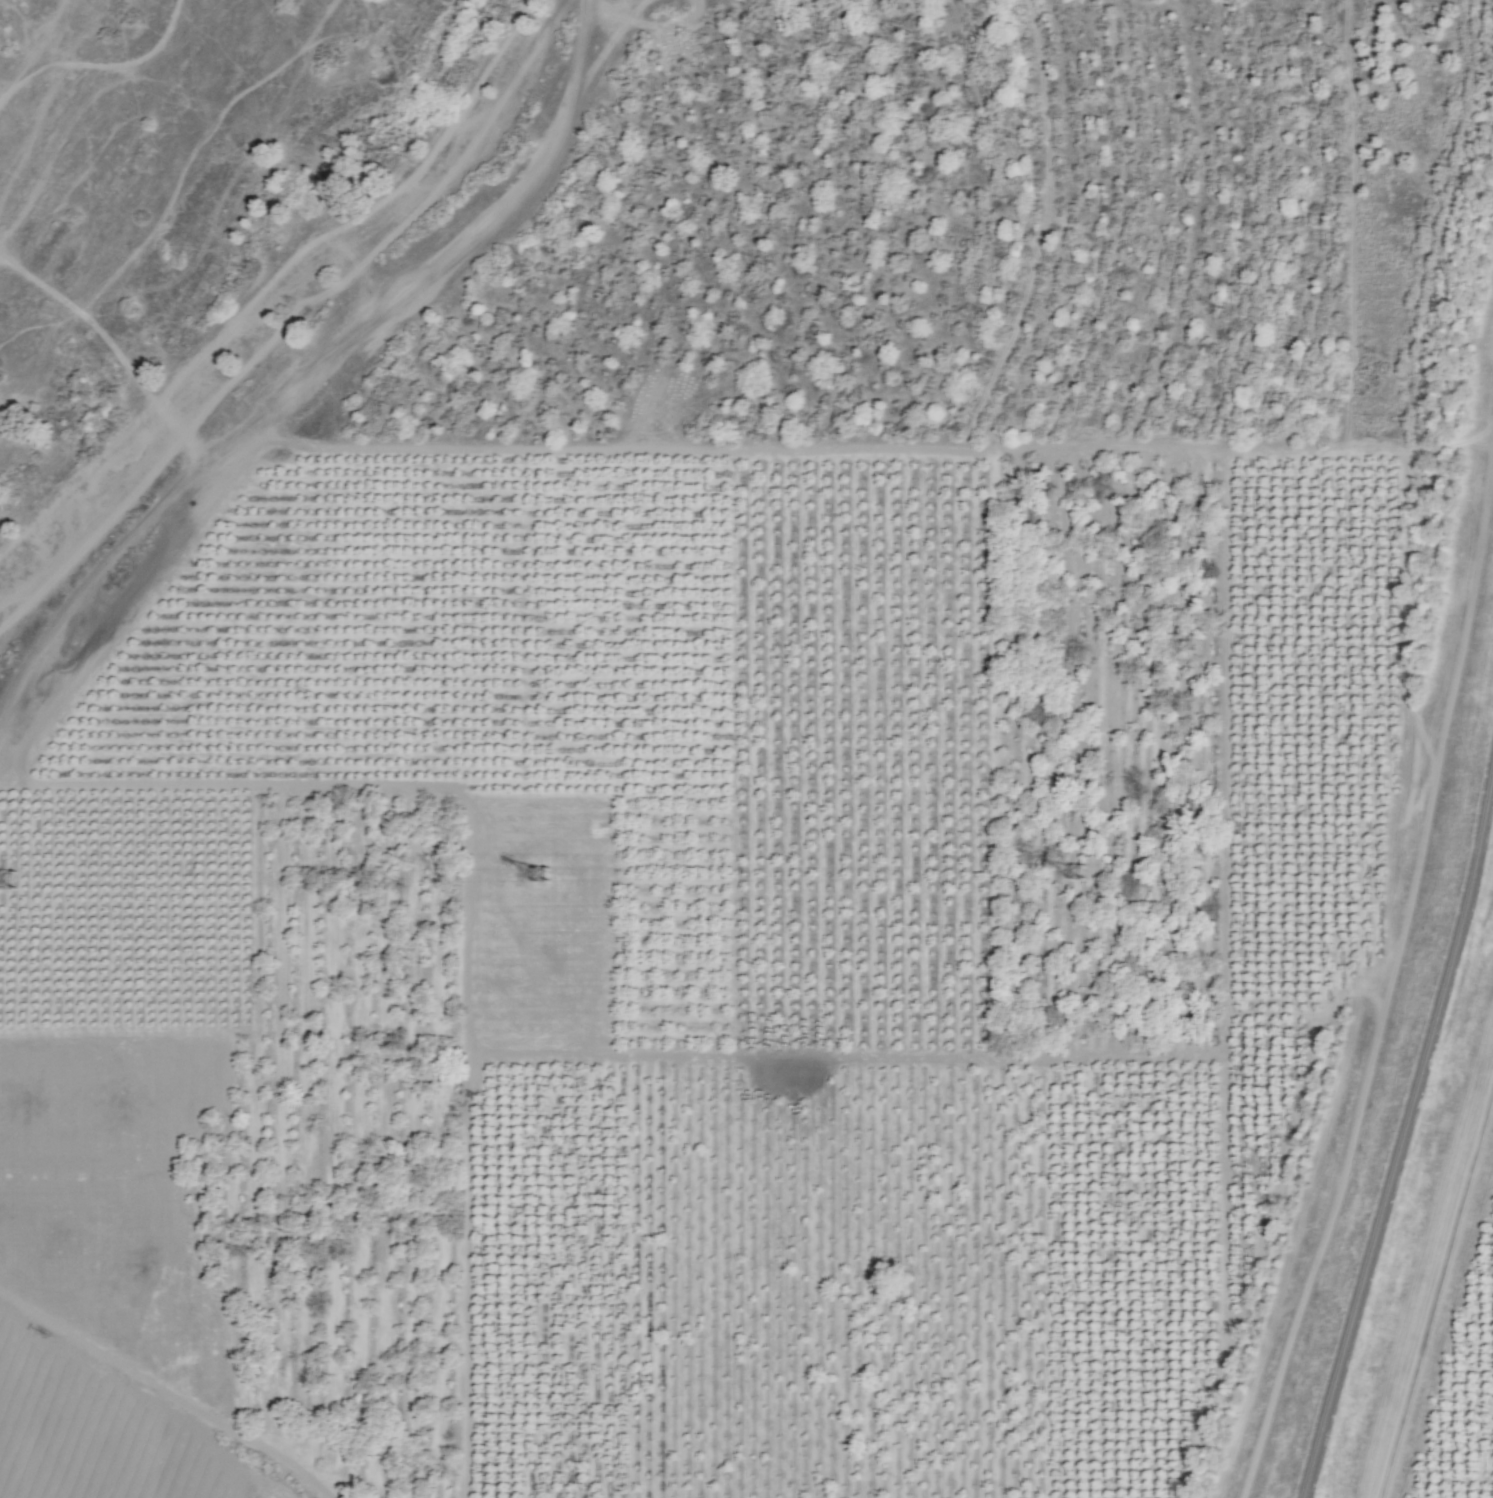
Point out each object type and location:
road: (308, 331)
power tower: (1076, 875)
power tower: (542, 876)
power tower: (7, 882)
road: (166, 1393)

